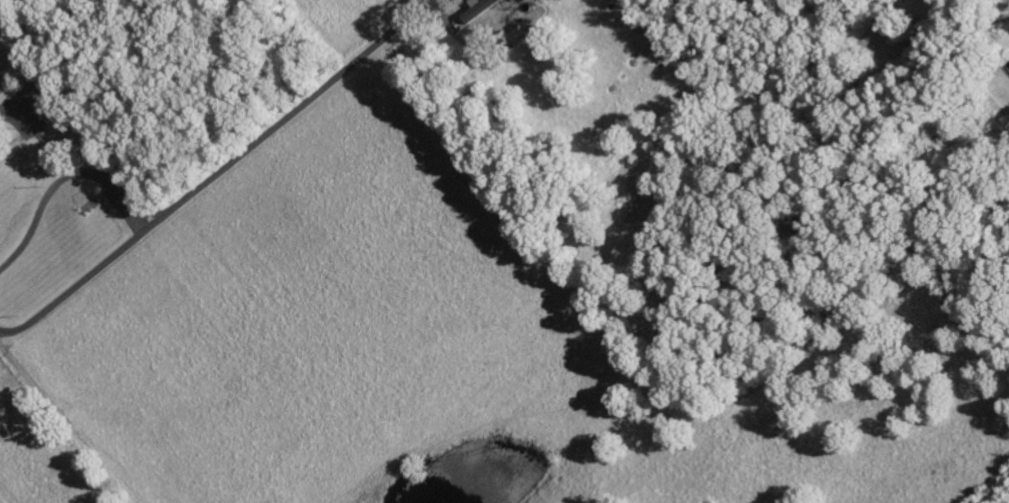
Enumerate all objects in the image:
building: (482, 9)
building: (49, 105)
road: (220, 171)

